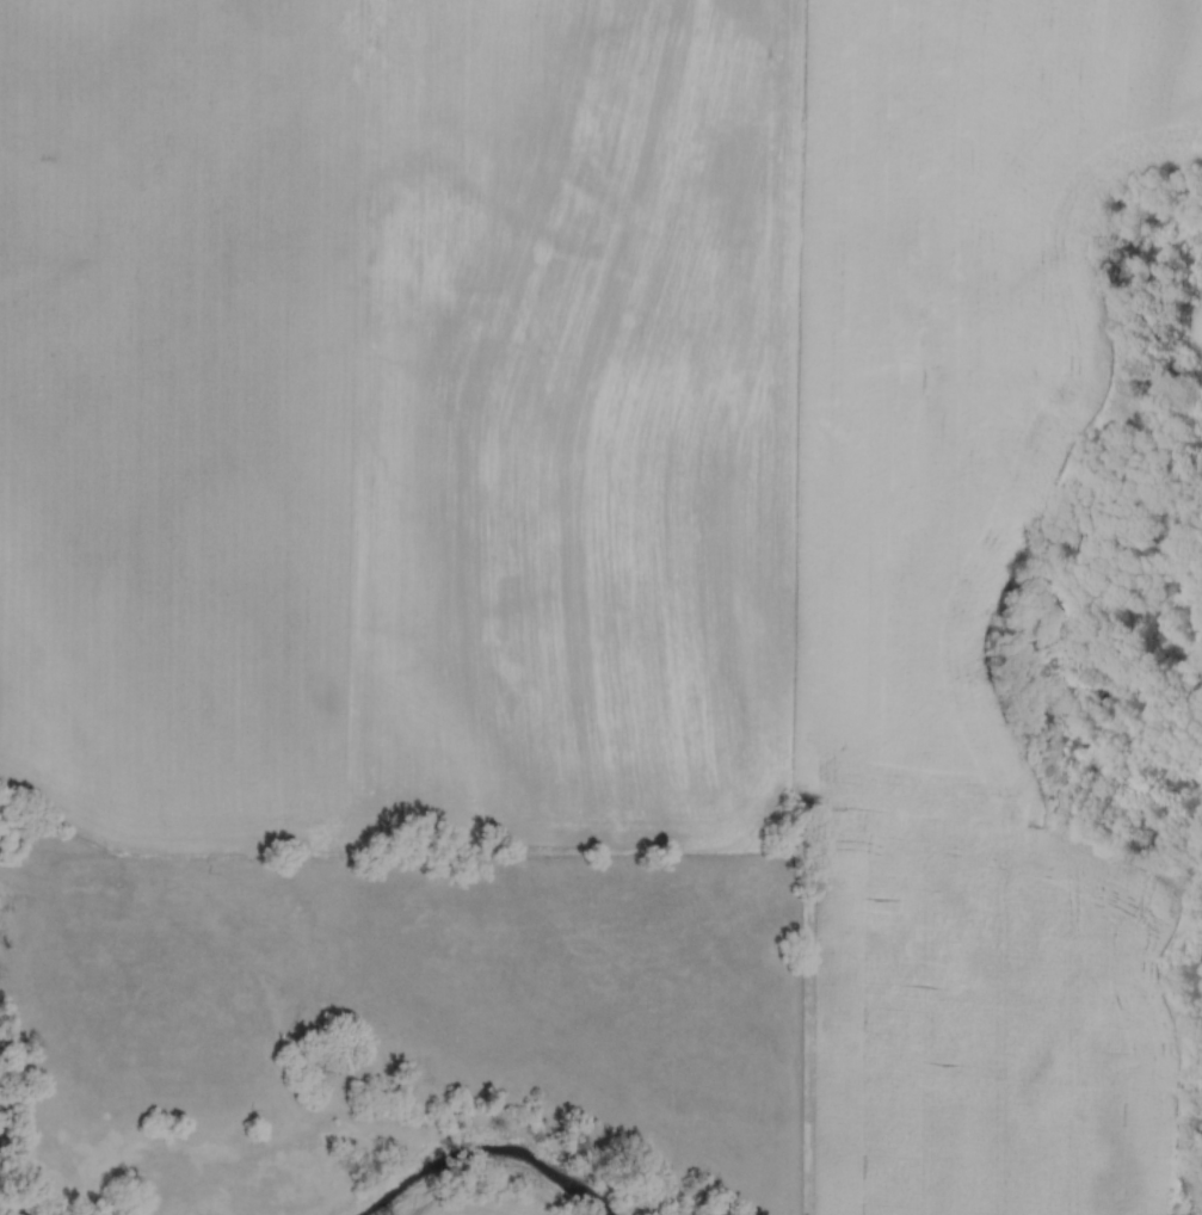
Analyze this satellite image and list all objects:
river: (480, 1159)

